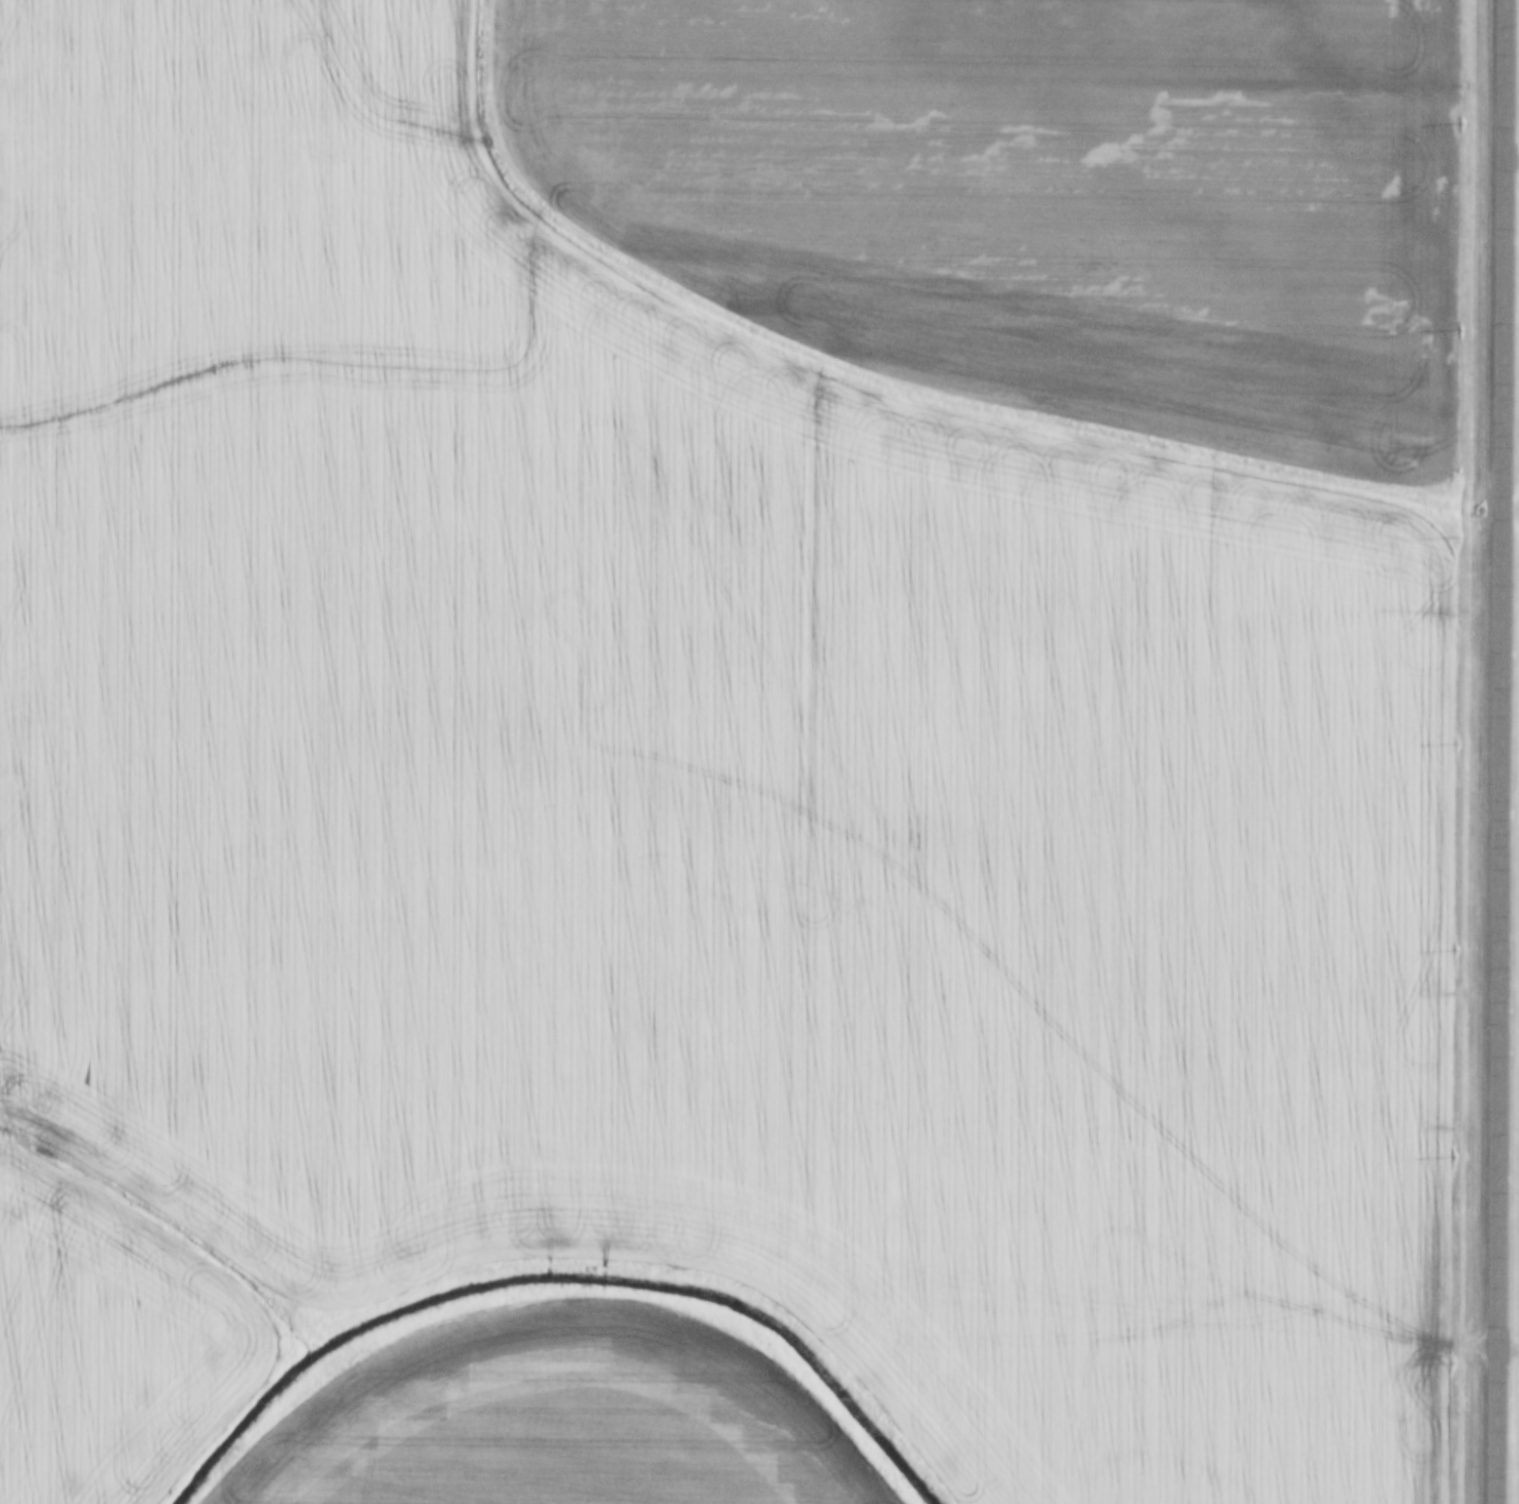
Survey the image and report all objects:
road: (1505, 752)

